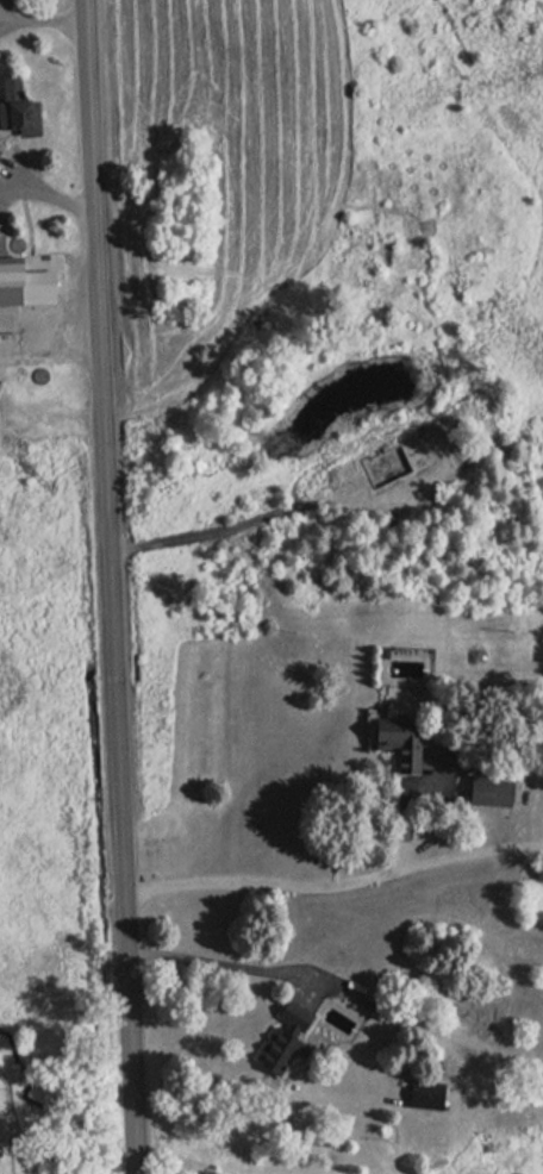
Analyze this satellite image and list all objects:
road: (40, 12)
road: (4, 13)
building: (17, 112)
road: (48, 213)
building: (25, 280)
road: (49, 361)
road: (111, 587)
building: (405, 754)
building: (481, 791)
road: (330, 892)
road: (231, 967)
building: (301, 1031)
building: (420, 1092)

